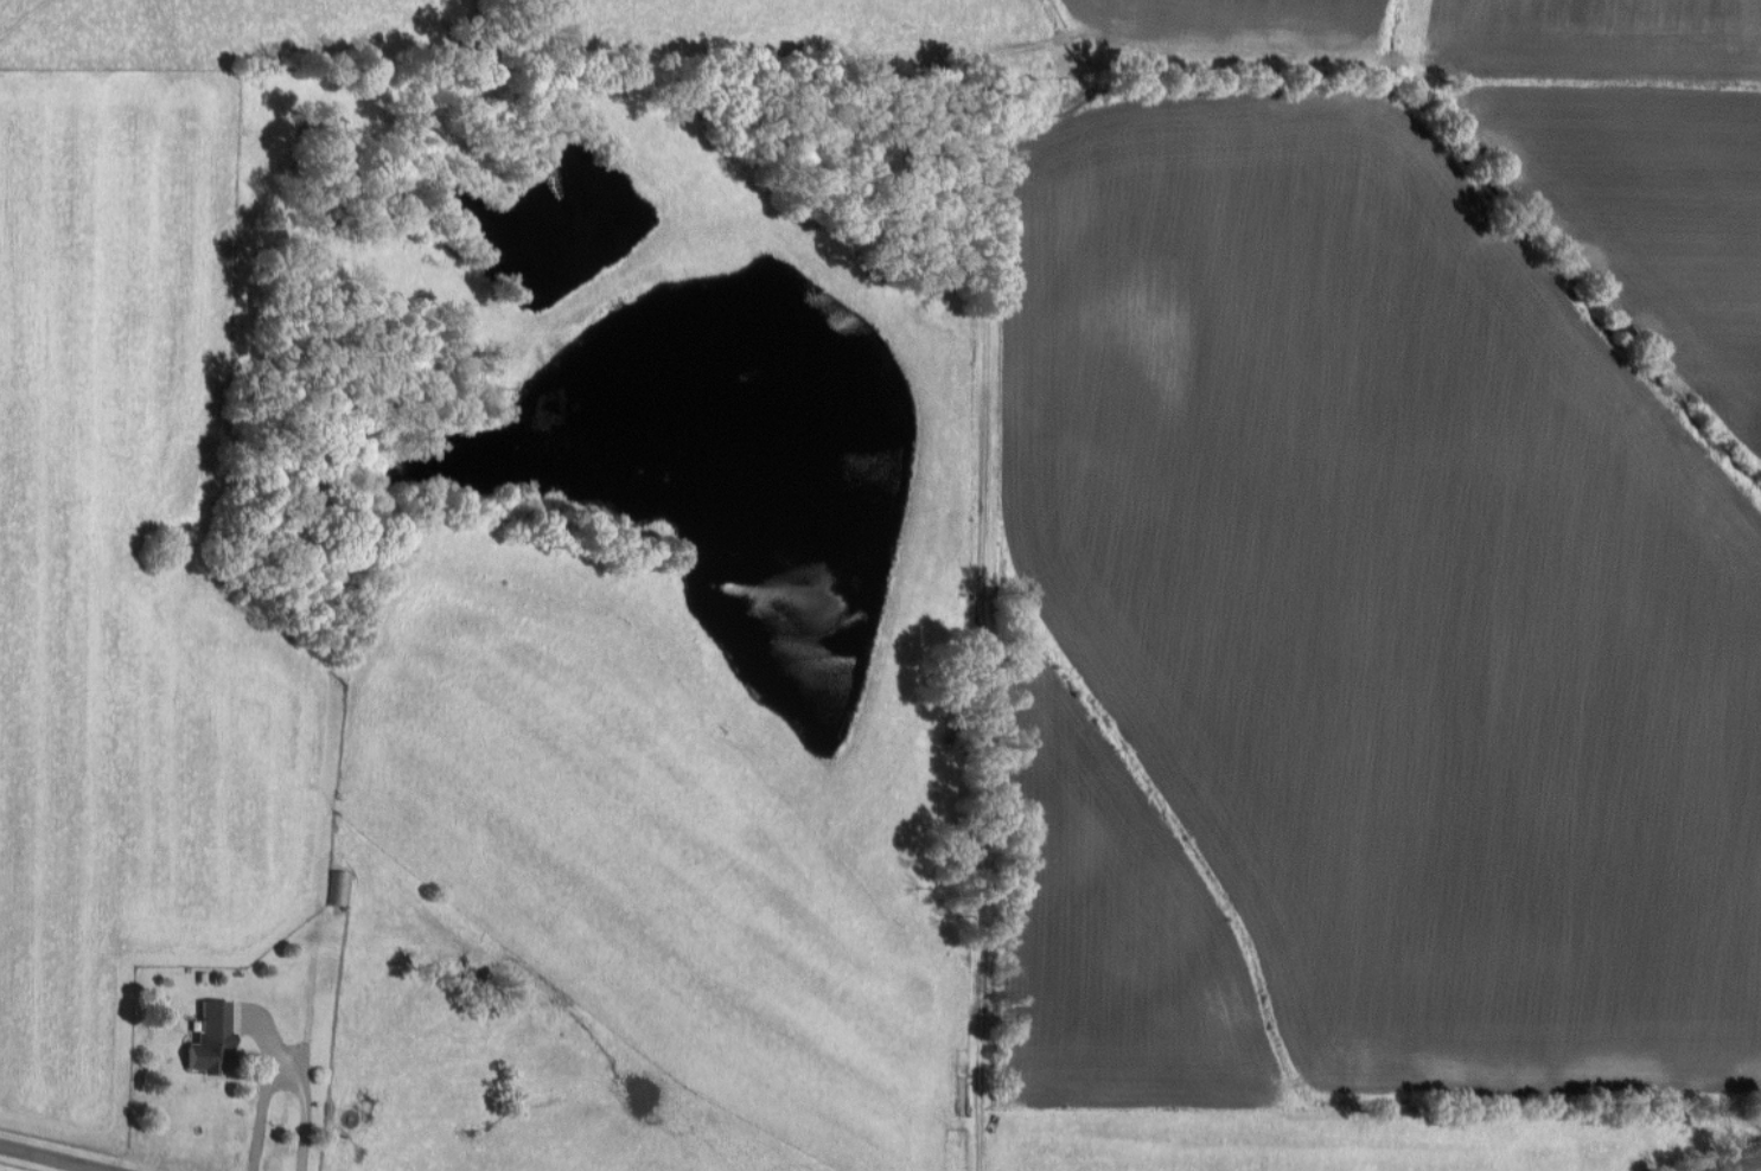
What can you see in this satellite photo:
building: (213, 1038)
road: (37, 1162)
road: (1742, 1165)

